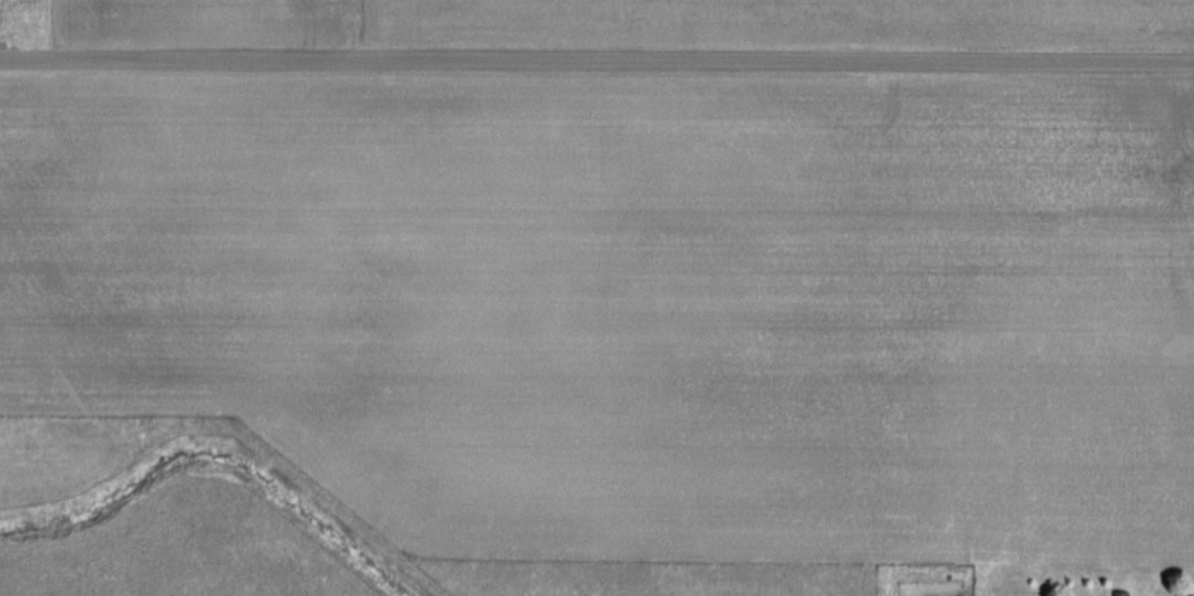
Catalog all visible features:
road: (596, 58)
building: (1127, 592)

